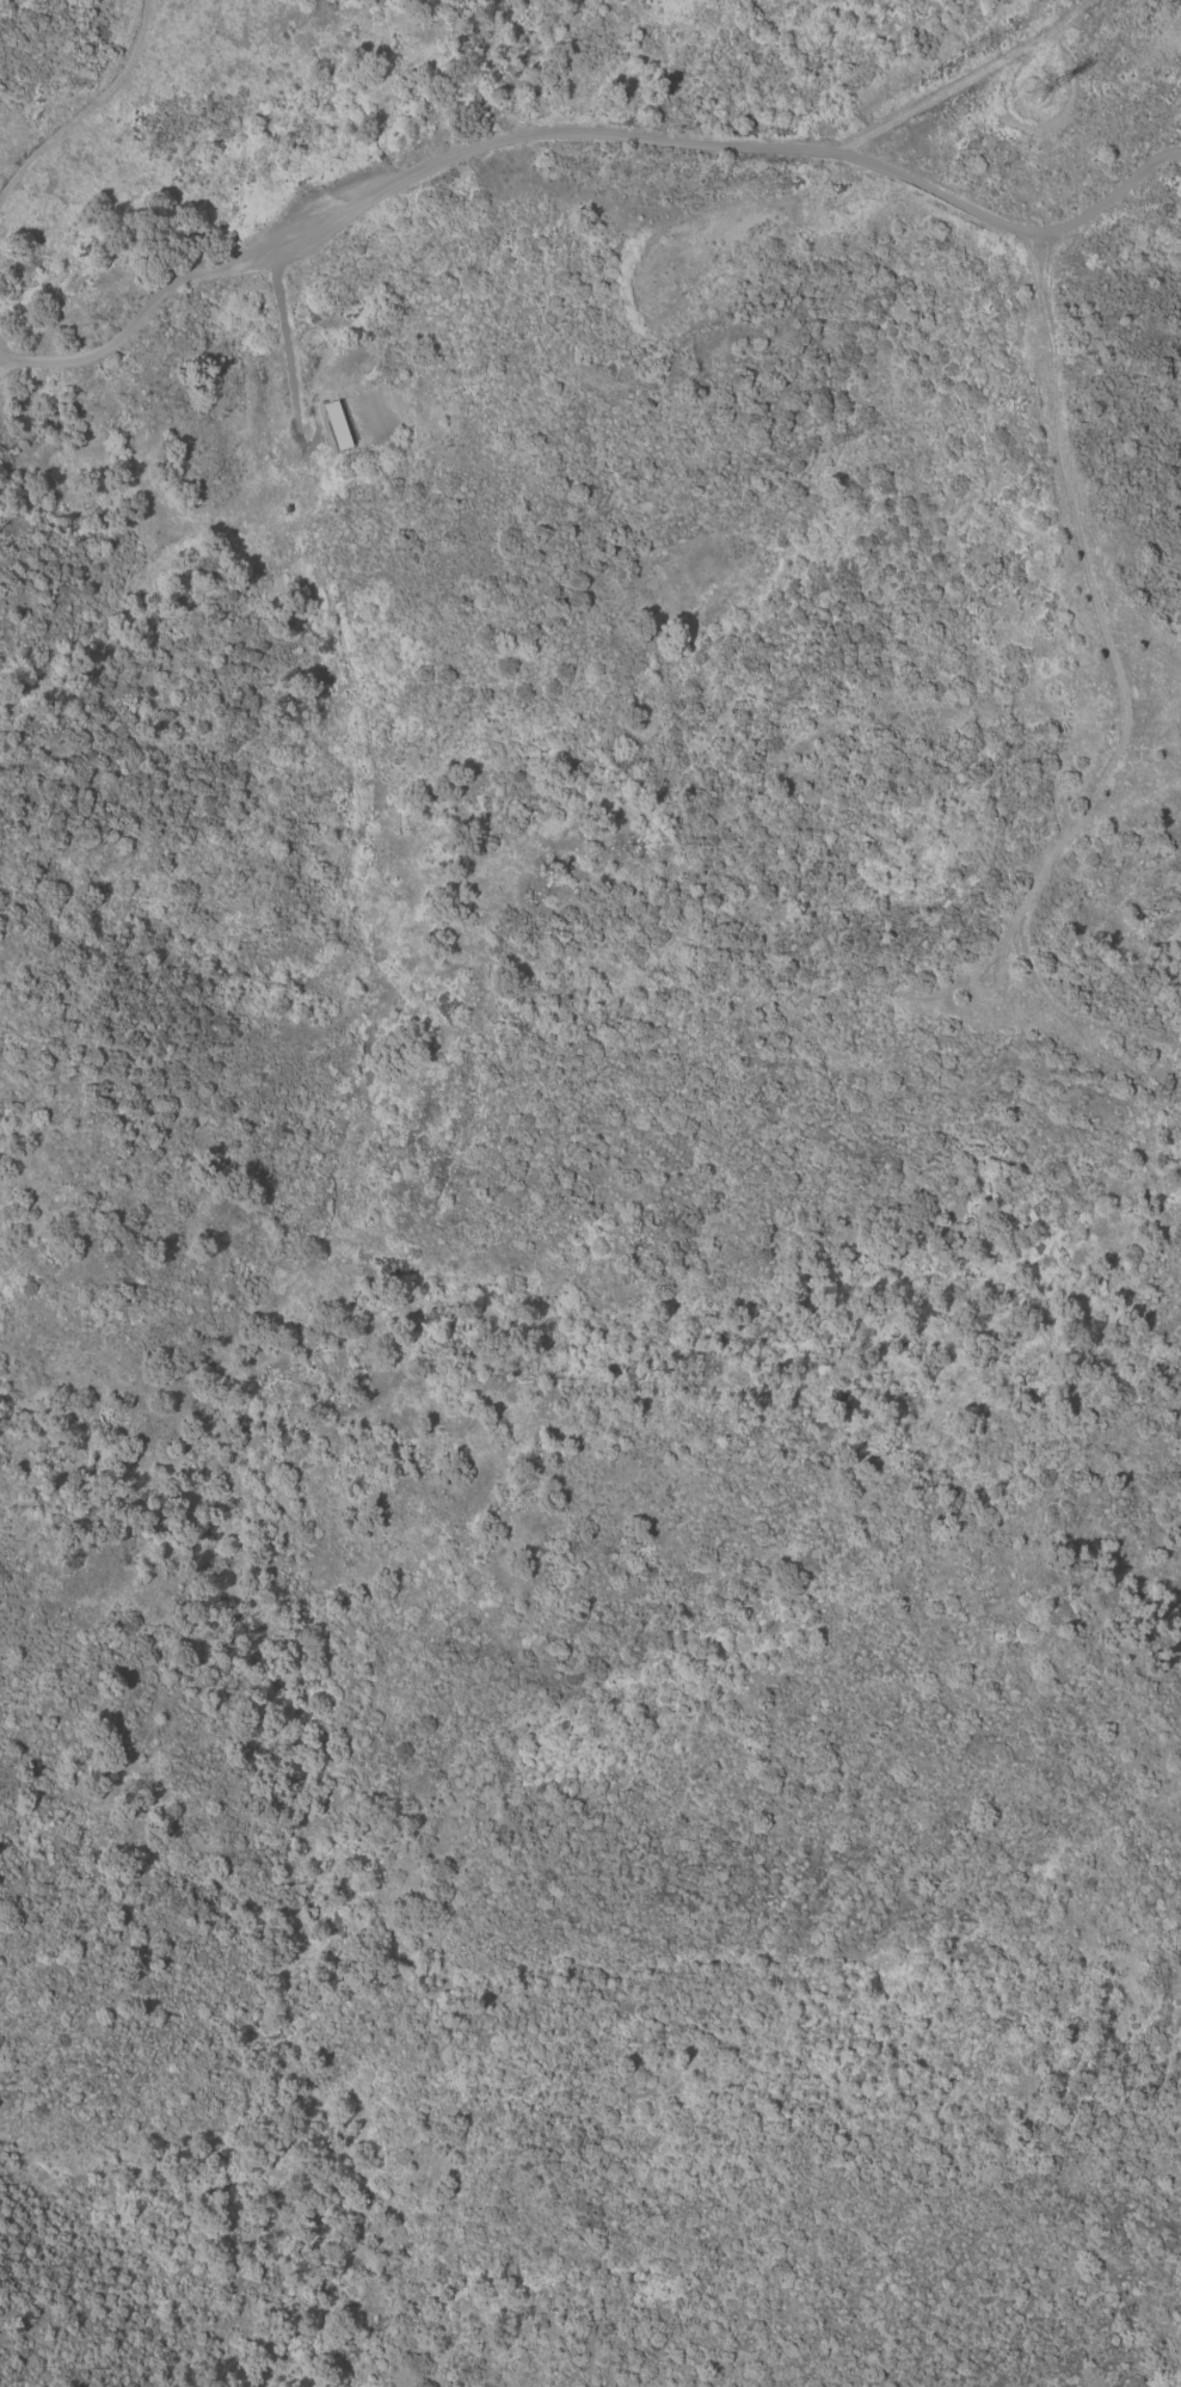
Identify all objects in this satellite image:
power tower: (1040, 92)
road: (79, 103)
road: (577, 135)
road: (284, 346)
building: (337, 424)

